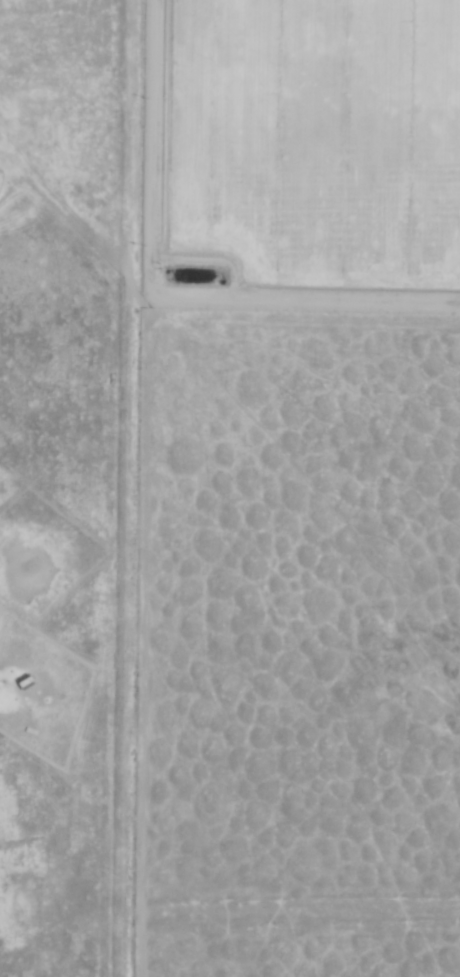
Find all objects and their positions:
crop: (304, 162)
crop: (9, 168)

